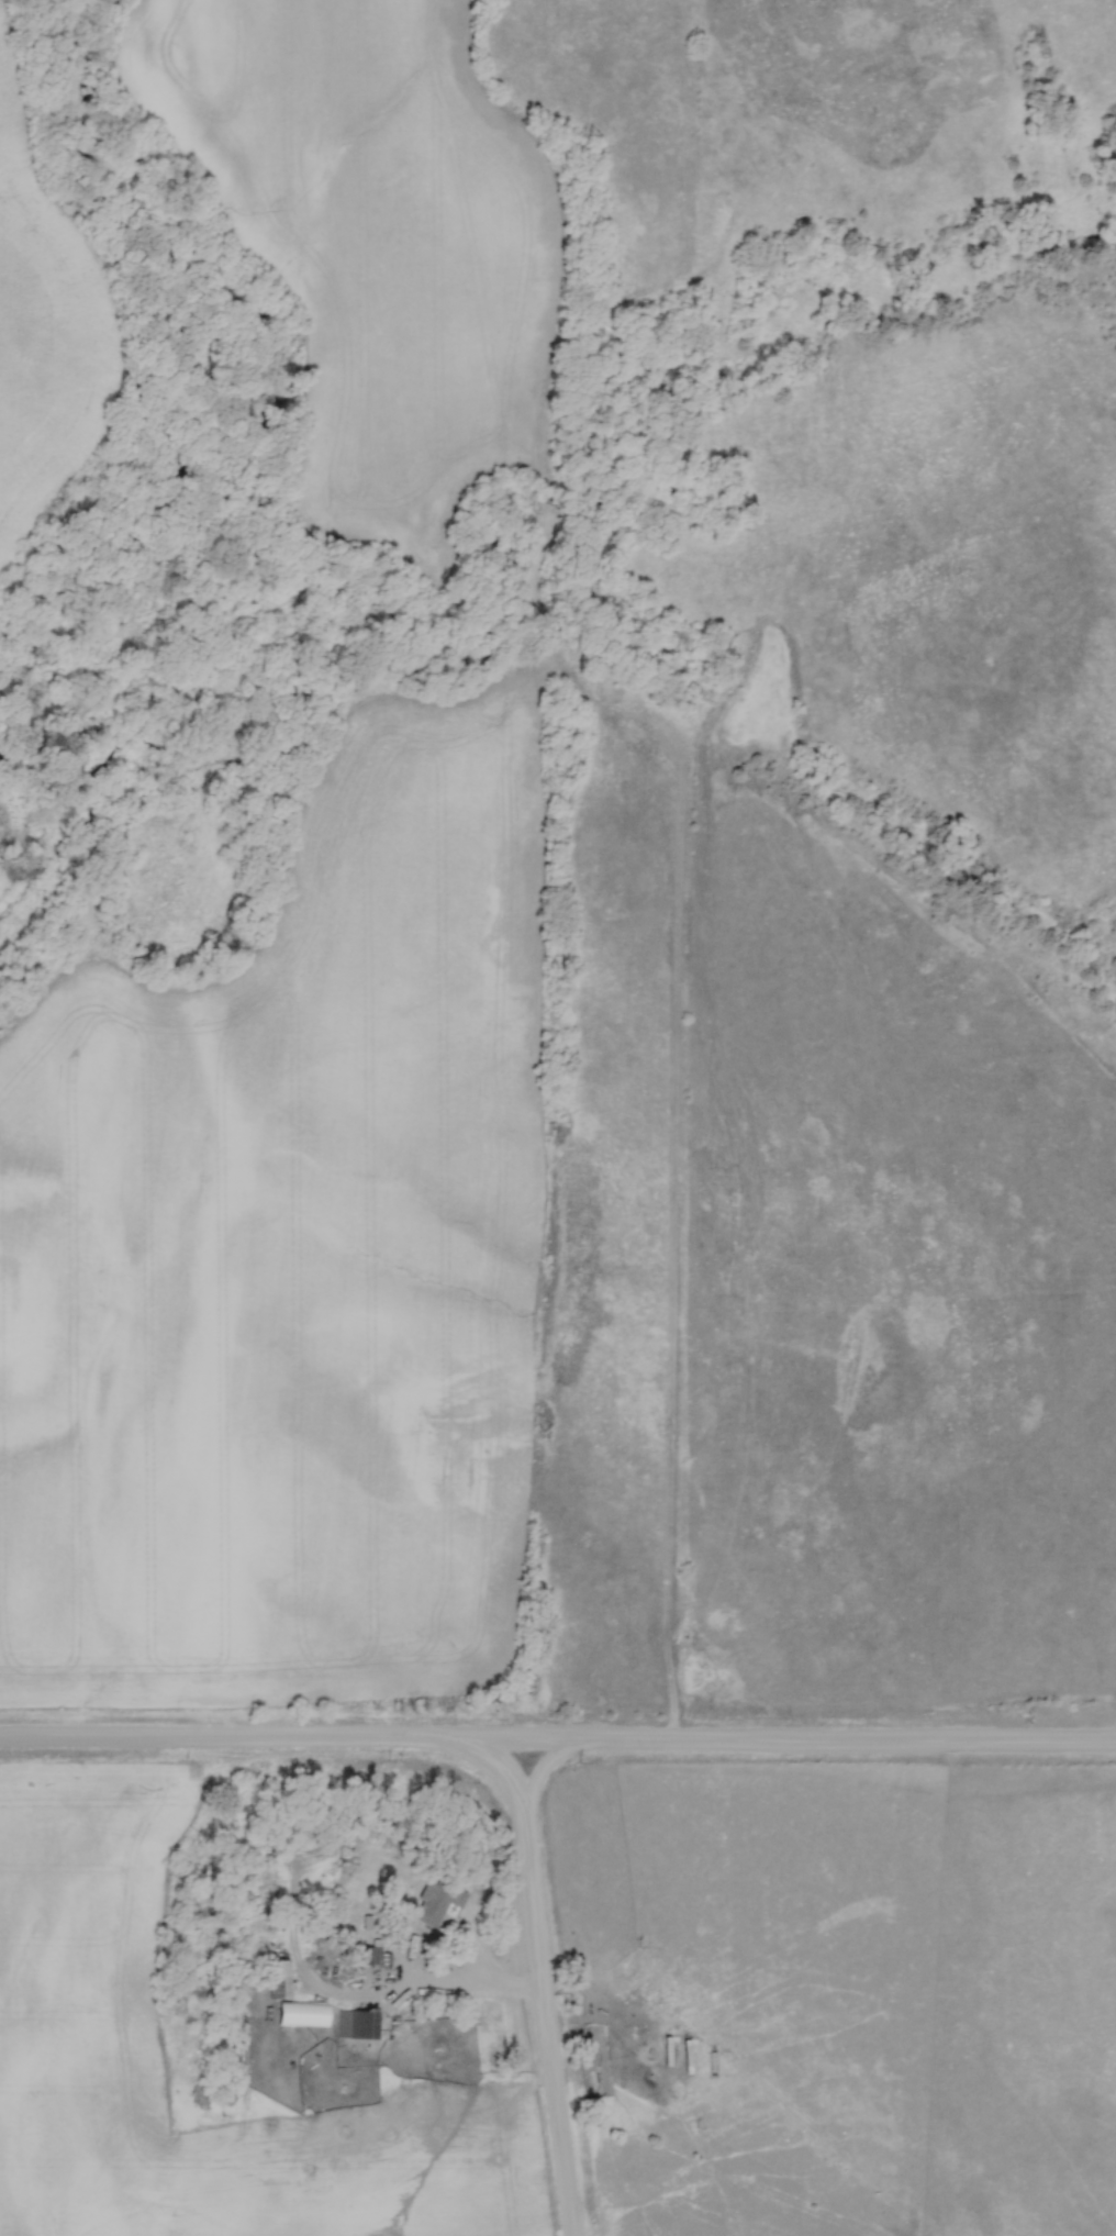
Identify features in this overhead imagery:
road: (557, 1745)
road: (538, 1778)
building: (440, 1898)
building: (371, 1956)
road: (484, 1970)
building: (278, 1978)
road: (540, 1982)
building: (356, 2024)

